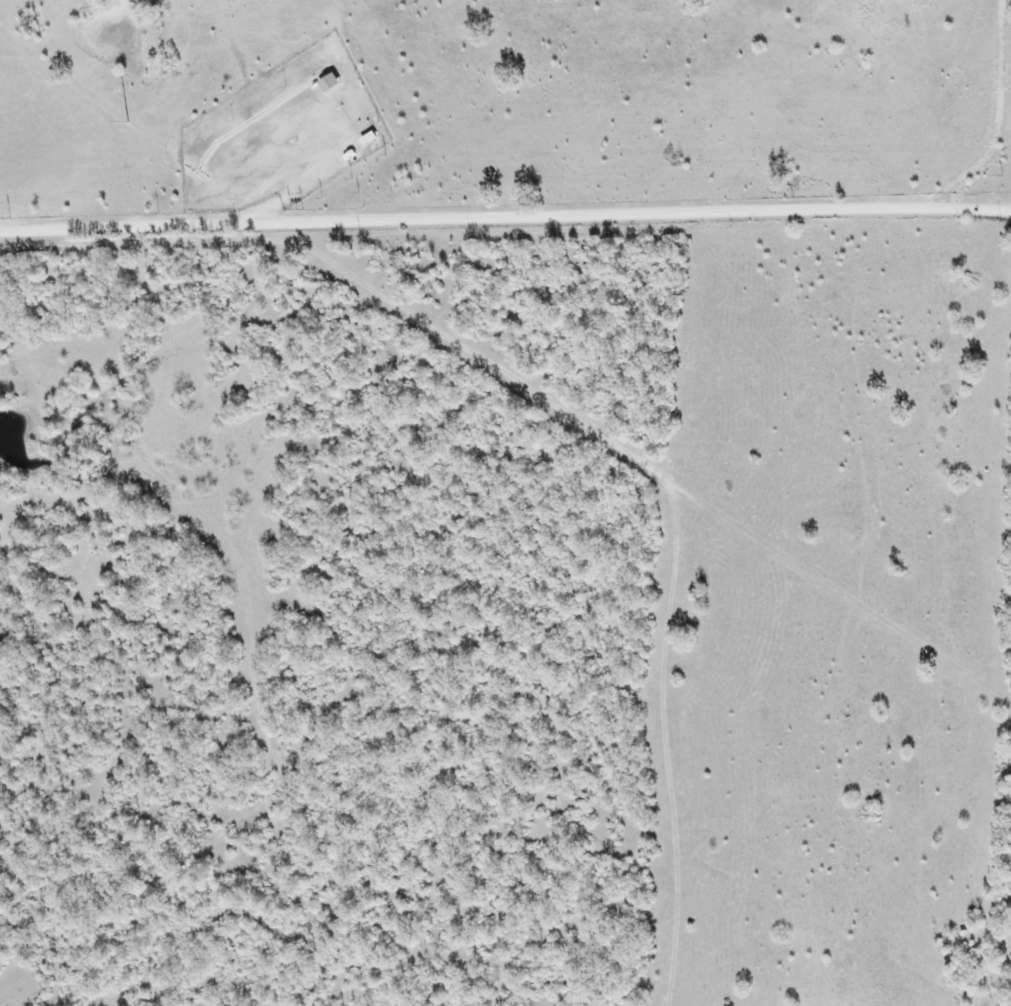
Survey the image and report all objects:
power tower: (128, 123)
road: (505, 216)

